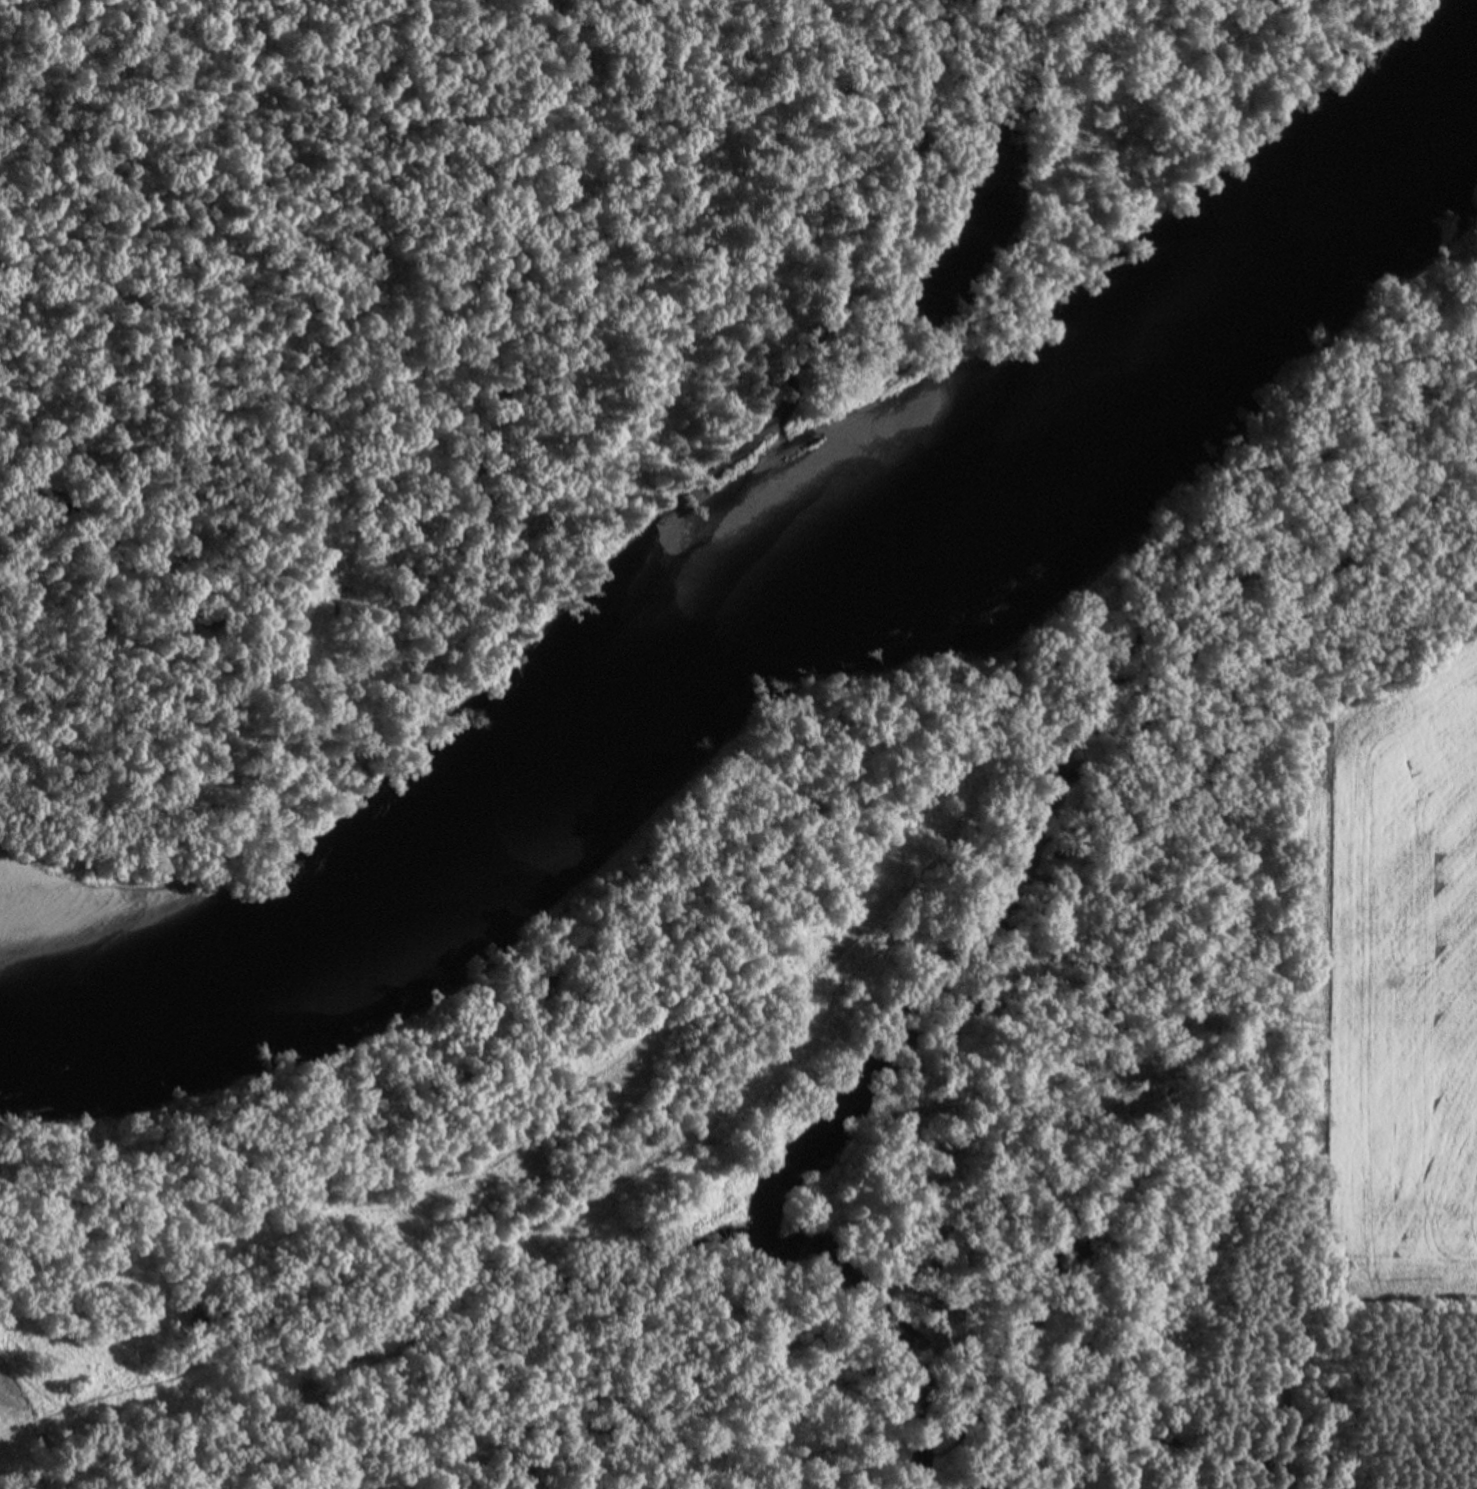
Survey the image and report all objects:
river: (752, 597)

